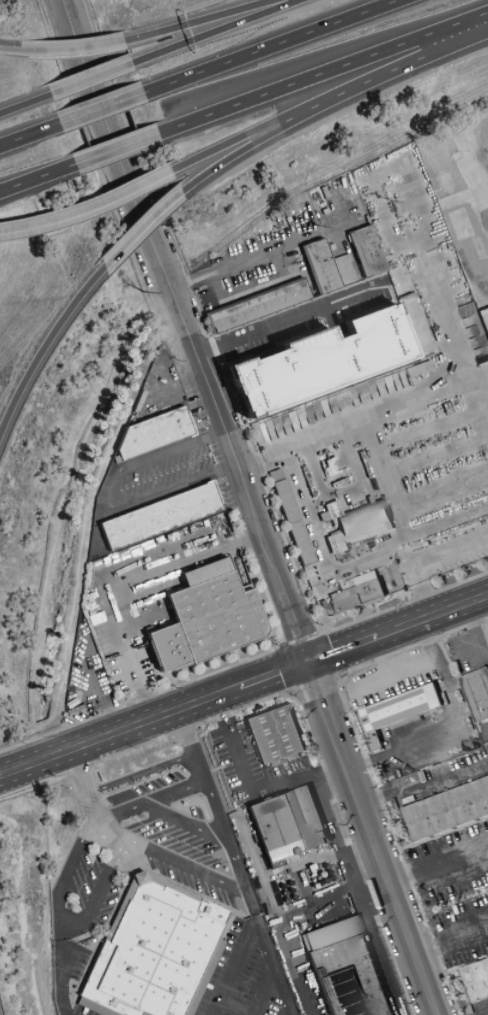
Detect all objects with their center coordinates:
road: (199, 21)
road: (216, 31)
road: (271, 47)
road: (12, 51)
road: (73, 51)
road: (390, 71)
road: (322, 74)
road: (90, 80)
road: (25, 105)
road: (101, 110)
road: (29, 136)
road: (233, 143)
road: (116, 149)
road: (238, 155)
road: (37, 178)
road: (101, 206)
road: (142, 230)
road: (12, 231)
building: (365, 252)
road: (245, 262)
building: (319, 267)
building: (342, 268)
building: (258, 307)
building: (484, 321)
road: (45, 349)
building: (321, 362)
road: (372, 412)
building: (153, 433)
road: (228, 438)
road: (113, 500)
building: (159, 516)
building: (292, 522)
building: (358, 527)
road: (422, 555)
building: (357, 592)
road: (431, 615)
building: (205, 618)
road: (124, 645)
road: (341, 649)
road: (389, 653)
road: (243, 662)
traffic signals: (308, 662)
road: (273, 675)
building: (476, 693)
building: (394, 711)
road: (450, 726)
building: (273, 734)
road: (119, 735)
road: (145, 744)
road: (140, 773)
road: (424, 786)
road: (85, 790)
road: (149, 800)
building: (445, 808)
road: (187, 824)
building: (287, 824)
road: (352, 852)
road: (172, 862)
road: (237, 862)
road: (437, 863)
road: (68, 874)
road: (99, 894)
road: (401, 918)
road: (451, 942)
building: (154, 953)
road: (234, 968)
building: (345, 969)
road: (61, 971)
building: (475, 976)
road: (426, 985)
road: (265, 992)

